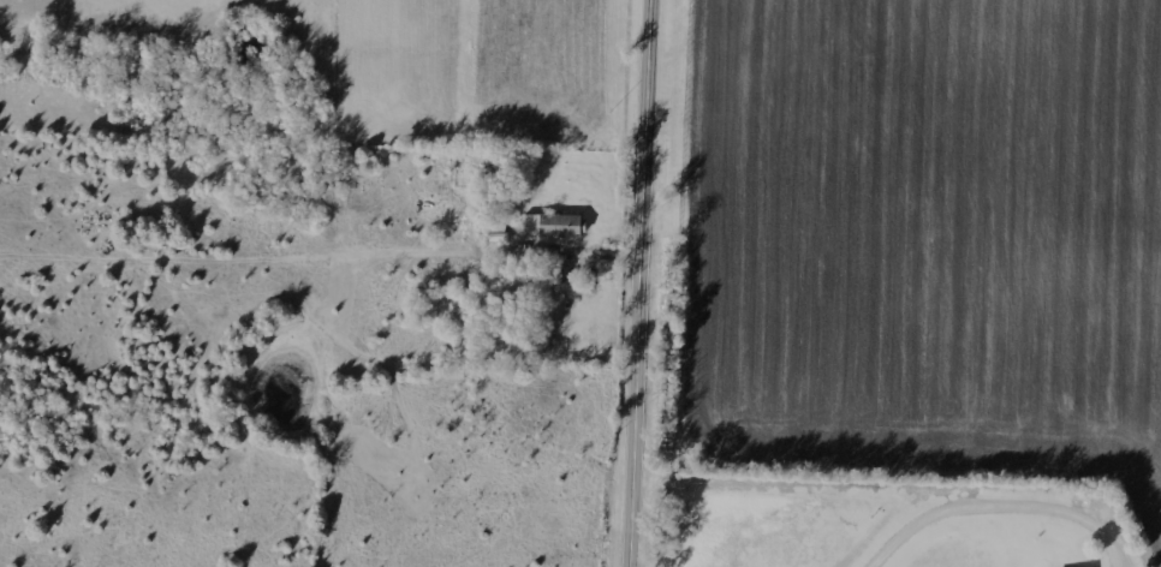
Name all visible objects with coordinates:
road: (643, 283)

